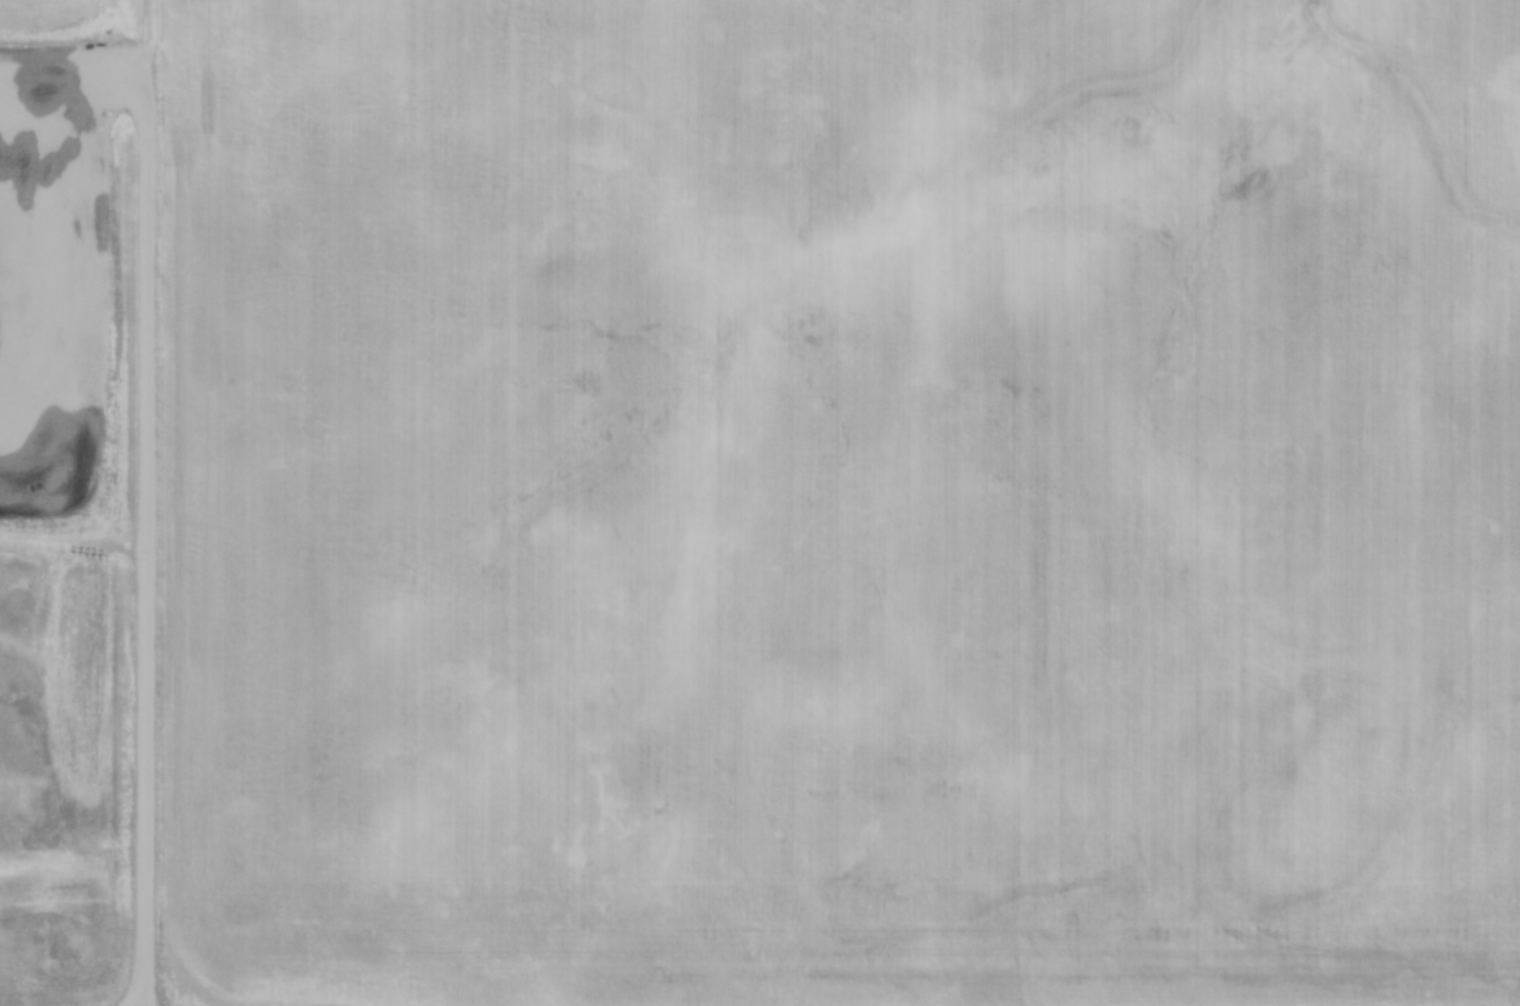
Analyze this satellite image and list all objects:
road: (137, 35)
road: (18, 199)
road: (136, 538)

